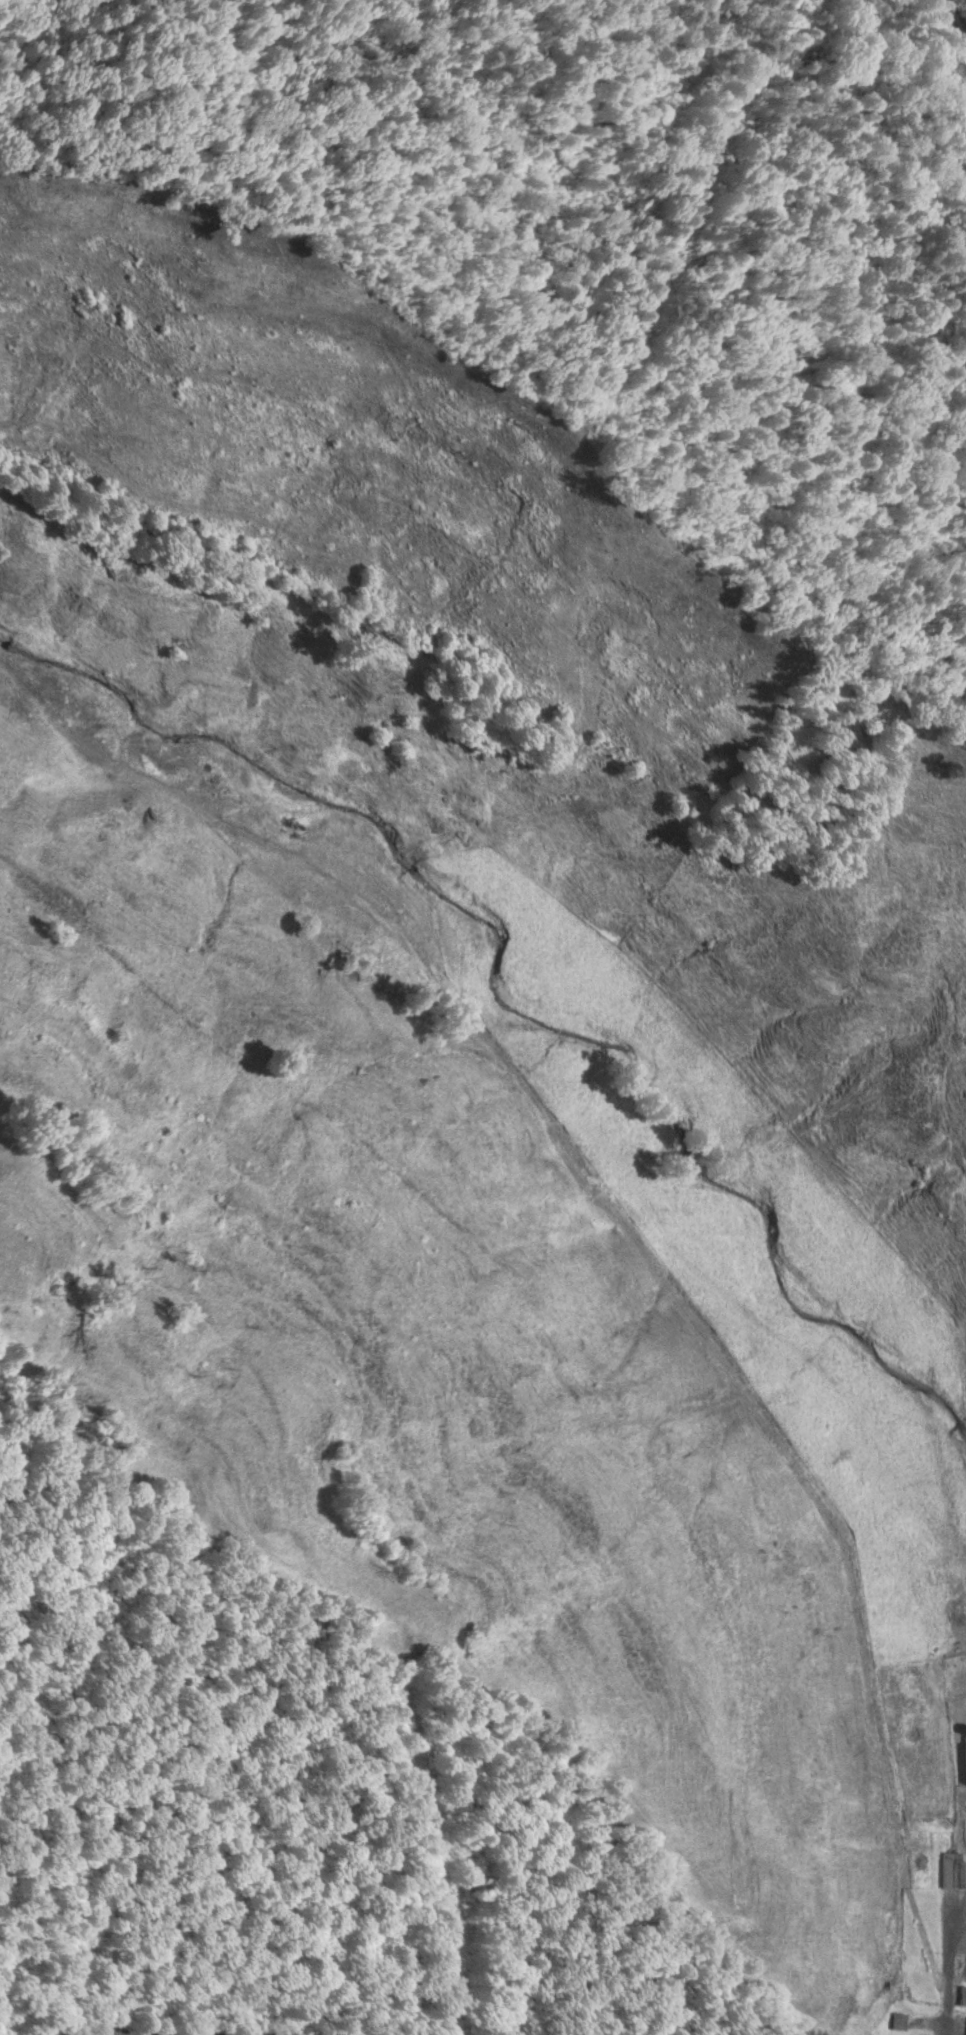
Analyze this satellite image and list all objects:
building: (965, 1764)
building: (953, 1871)
building: (963, 1997)
road: (130, 2033)

